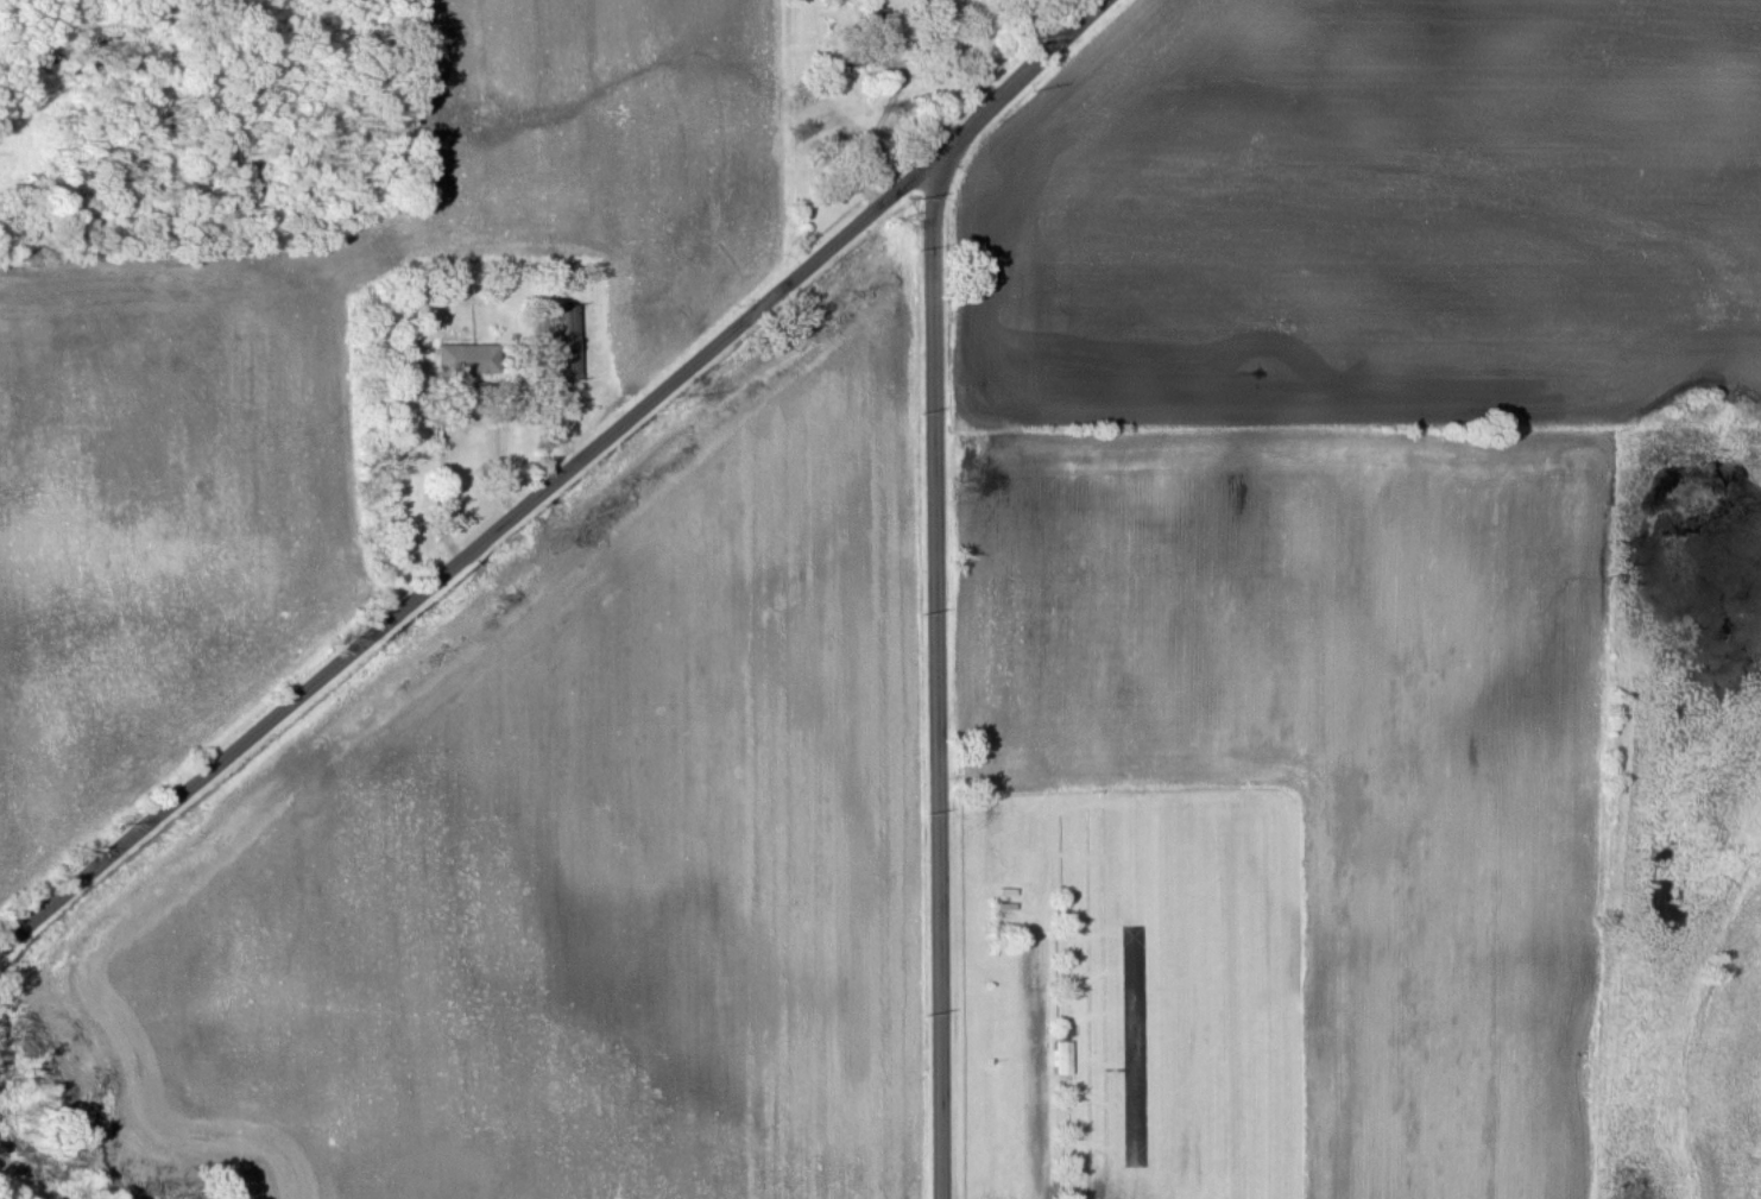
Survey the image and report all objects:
road: (845, 150)
building: (568, 343)
building: (467, 360)
road: (455, 399)
road: (554, 471)
road: (941, 686)
building: (1063, 1060)
road: (1031, 1136)

